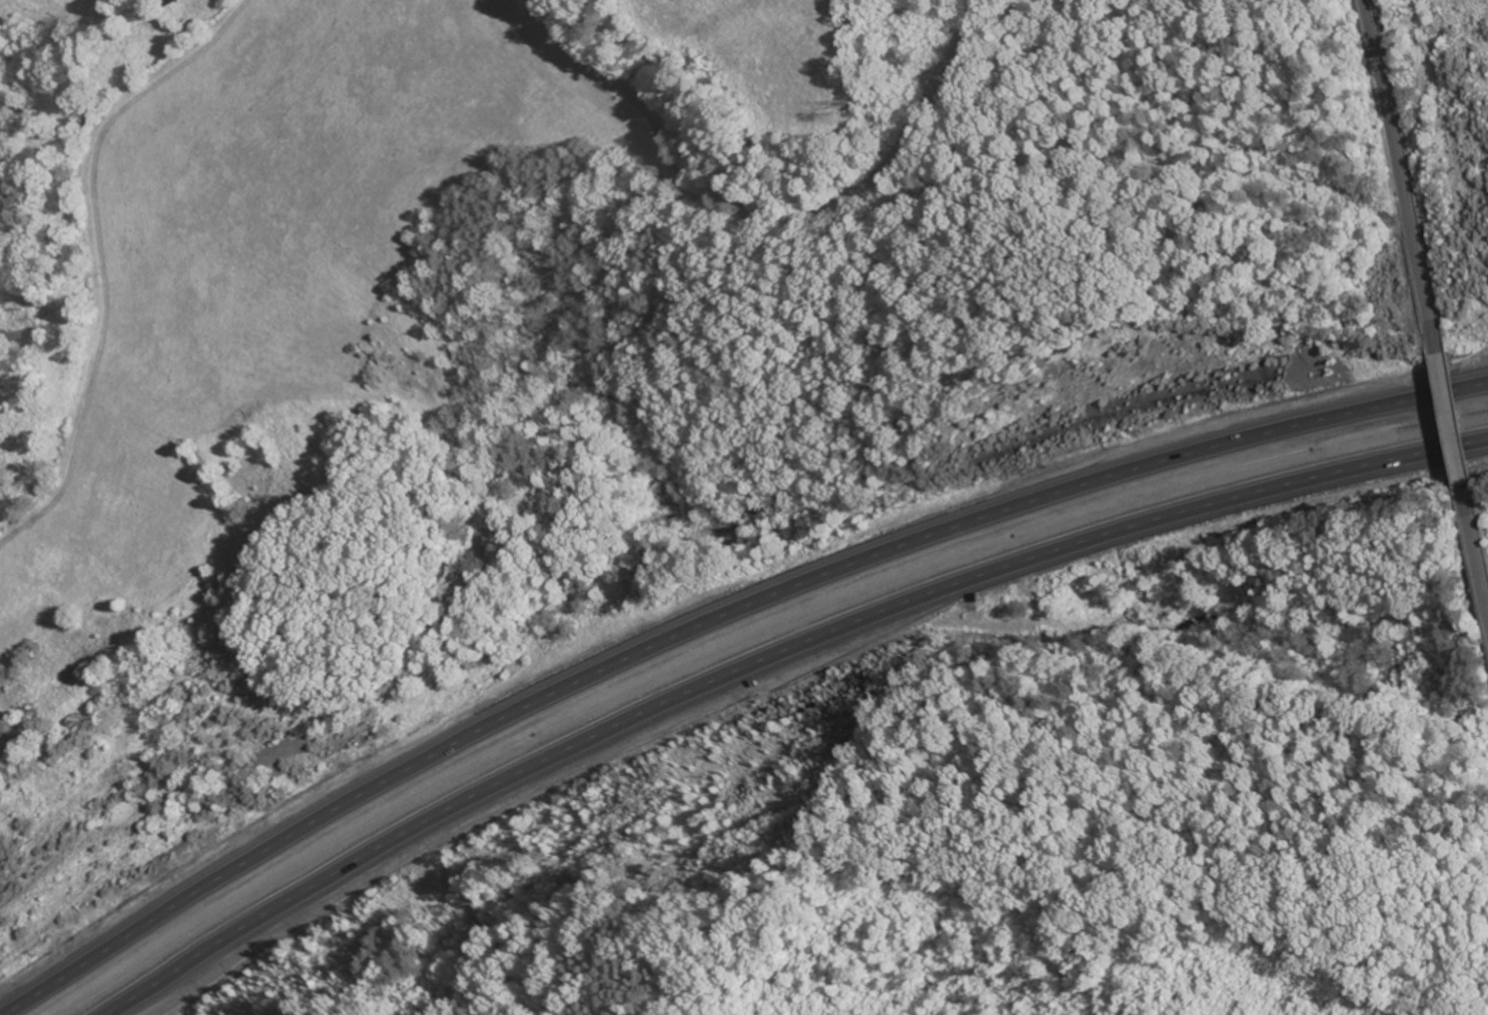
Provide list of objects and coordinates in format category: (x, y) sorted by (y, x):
road: (1401, 169)
road: (66, 245)
road: (902, 251)
road: (1454, 425)
road: (1480, 552)
road: (711, 619)
road: (771, 661)

